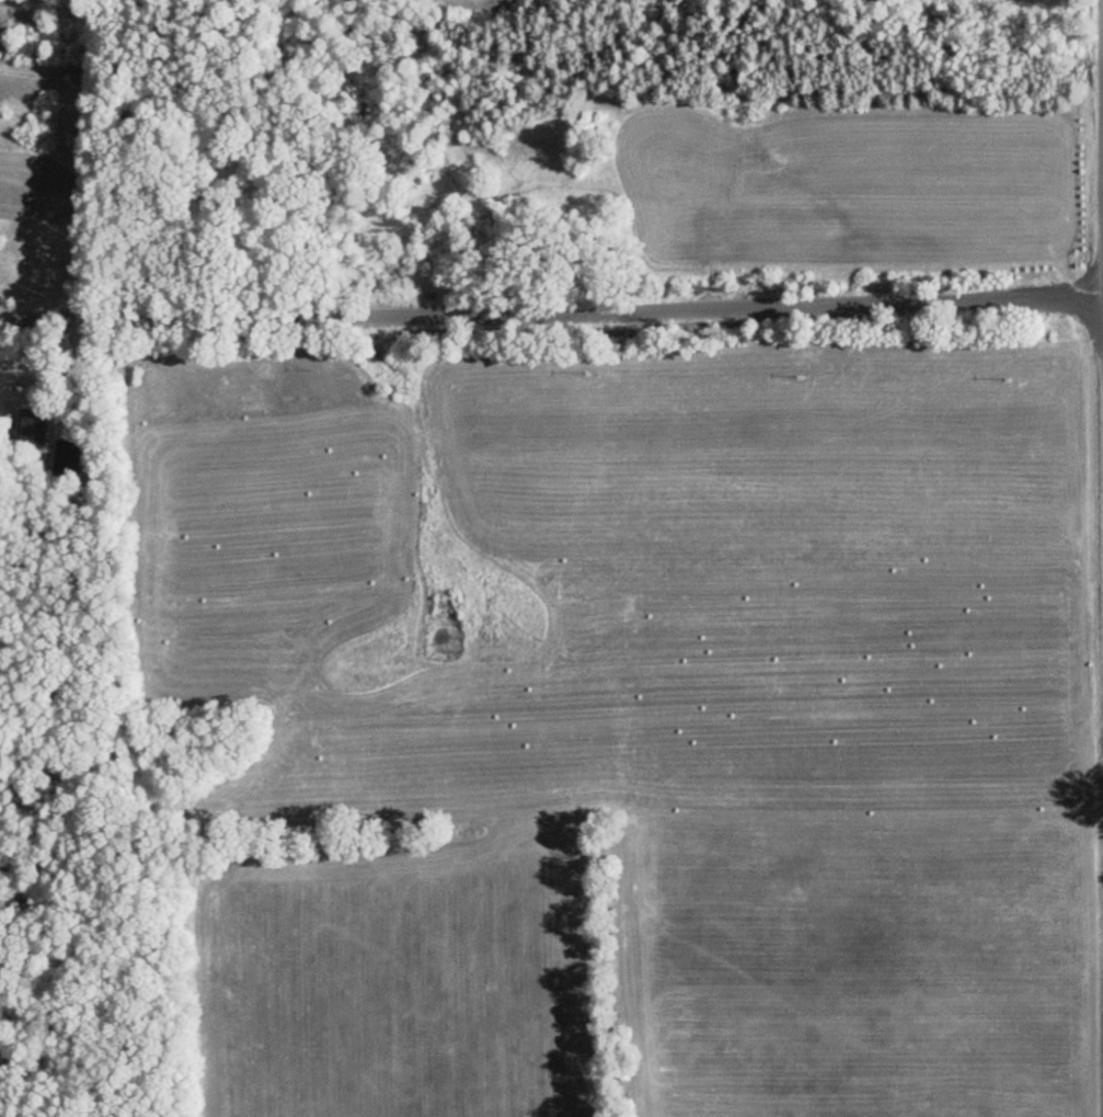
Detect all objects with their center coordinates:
road: (1102, 86)
road: (551, 299)
building: (31, 431)

